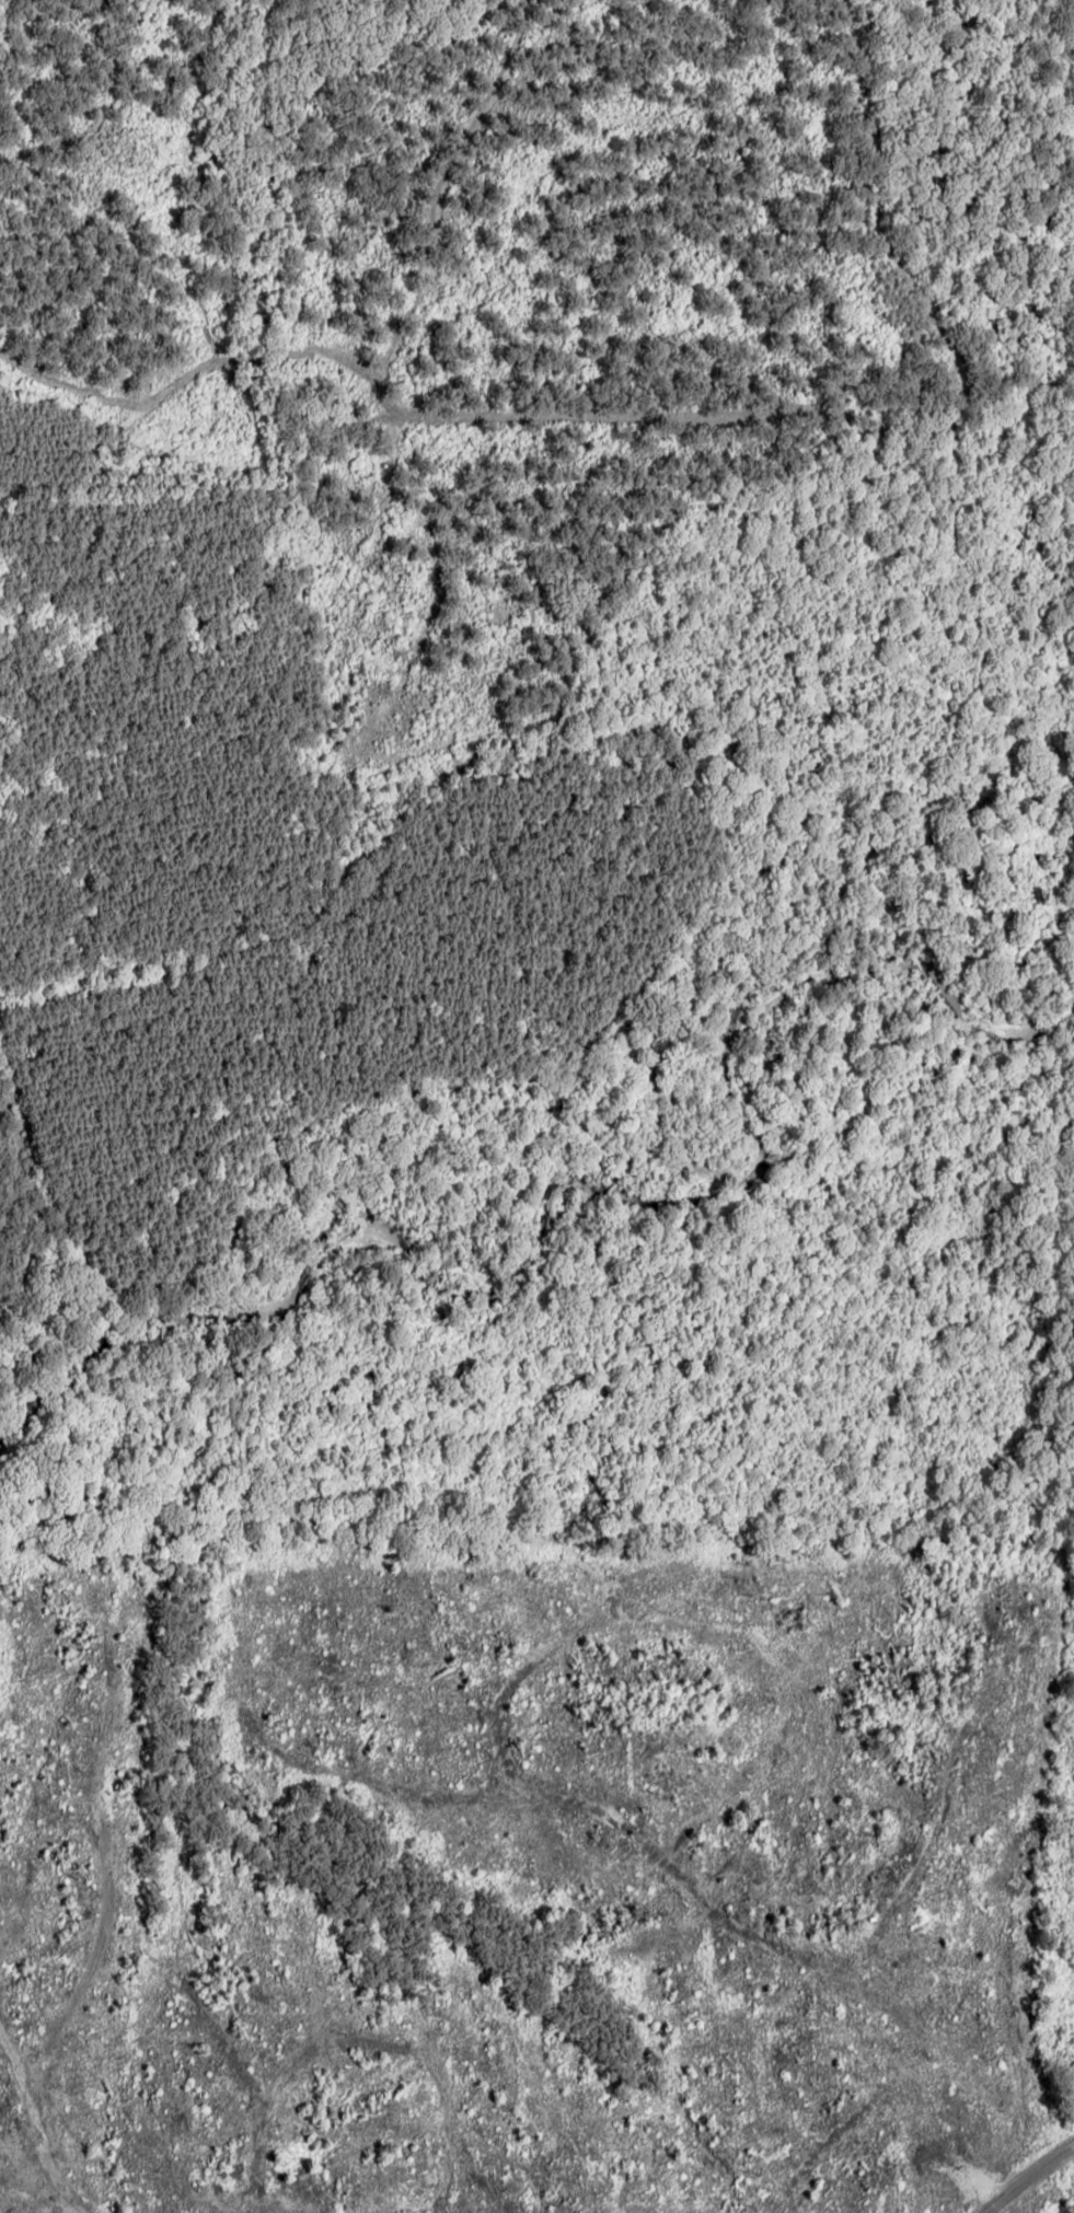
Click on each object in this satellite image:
road: (1063, 2208)

